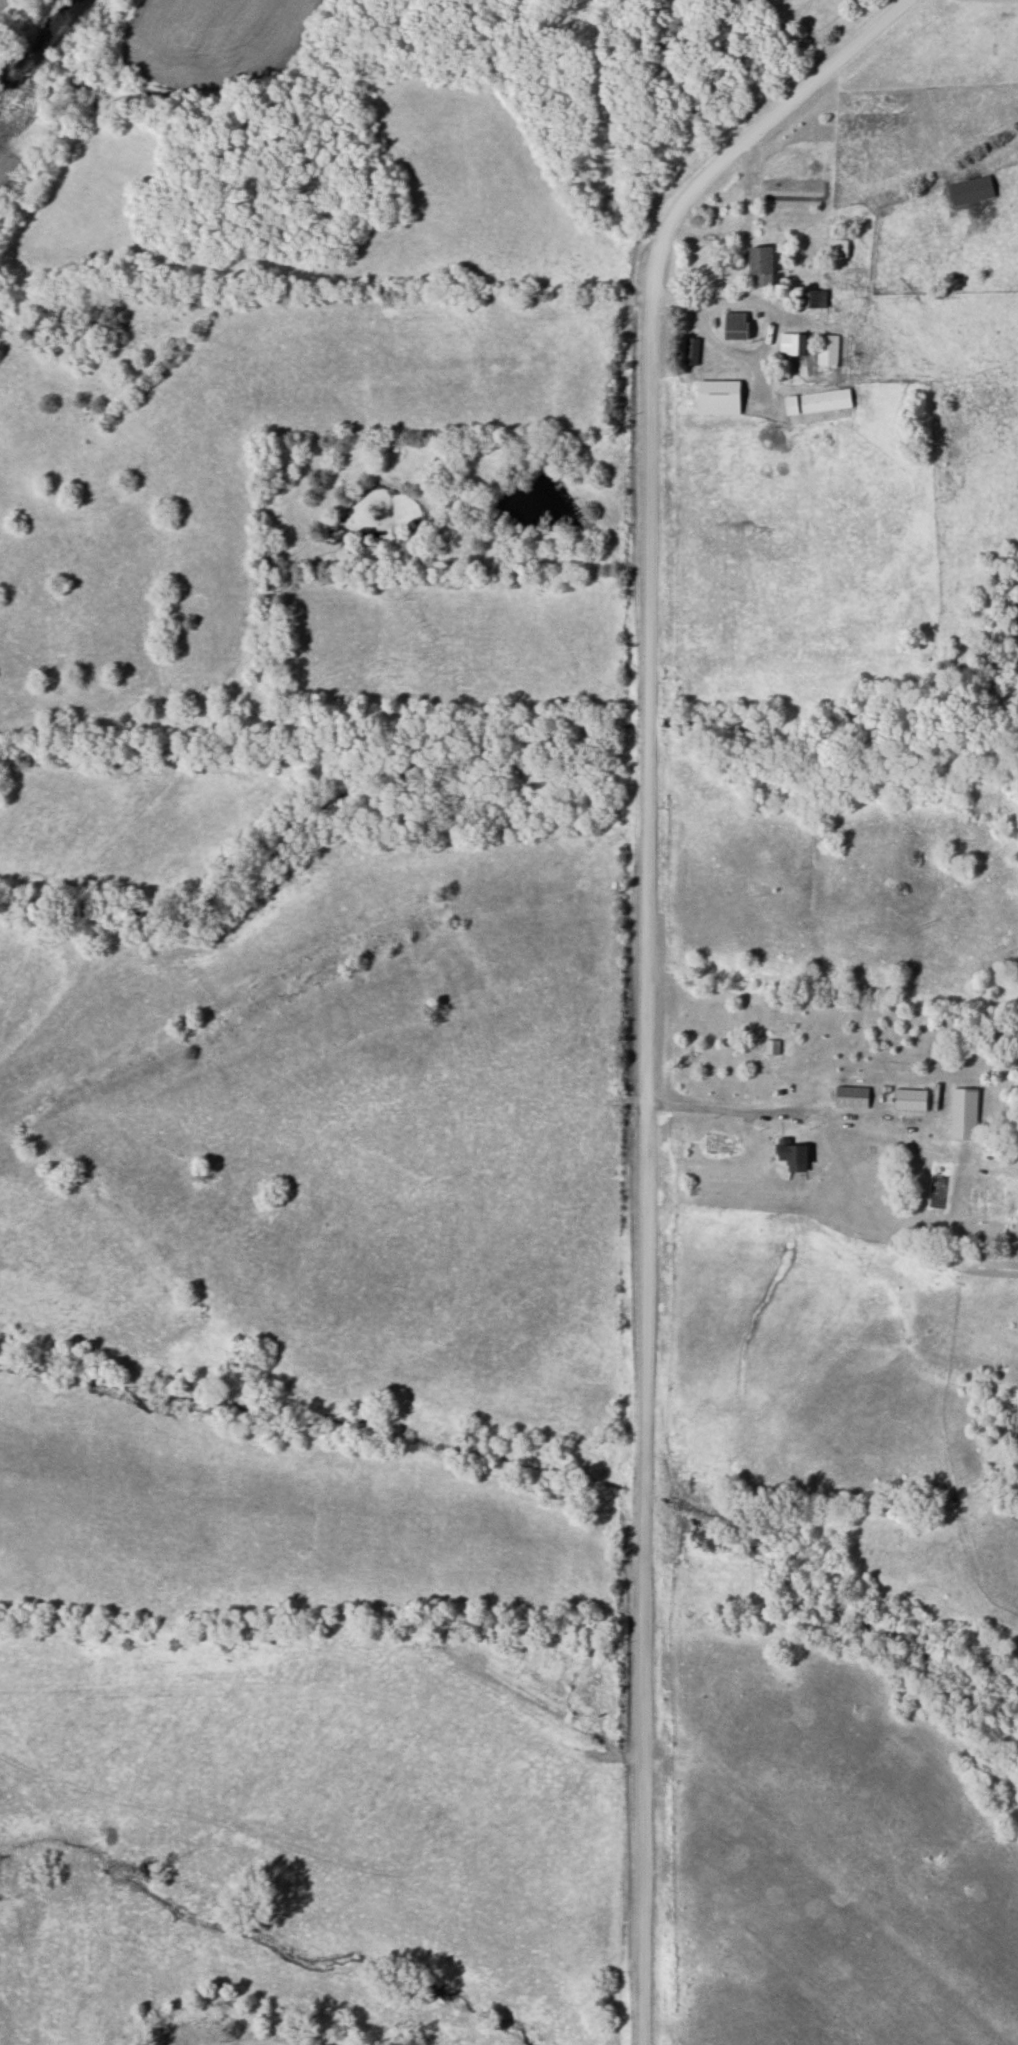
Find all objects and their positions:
building: (969, 191)
road: (748, 228)
building: (835, 249)
building: (758, 265)
road: (713, 306)
building: (732, 326)
building: (783, 344)
building: (798, 345)
building: (689, 347)
building: (825, 350)
building: (715, 397)
building: (815, 402)
road: (646, 967)
building: (770, 1047)
building: (849, 1097)
building: (908, 1099)
road: (706, 1107)
building: (961, 1113)
building: (719, 1143)
building: (790, 1155)

